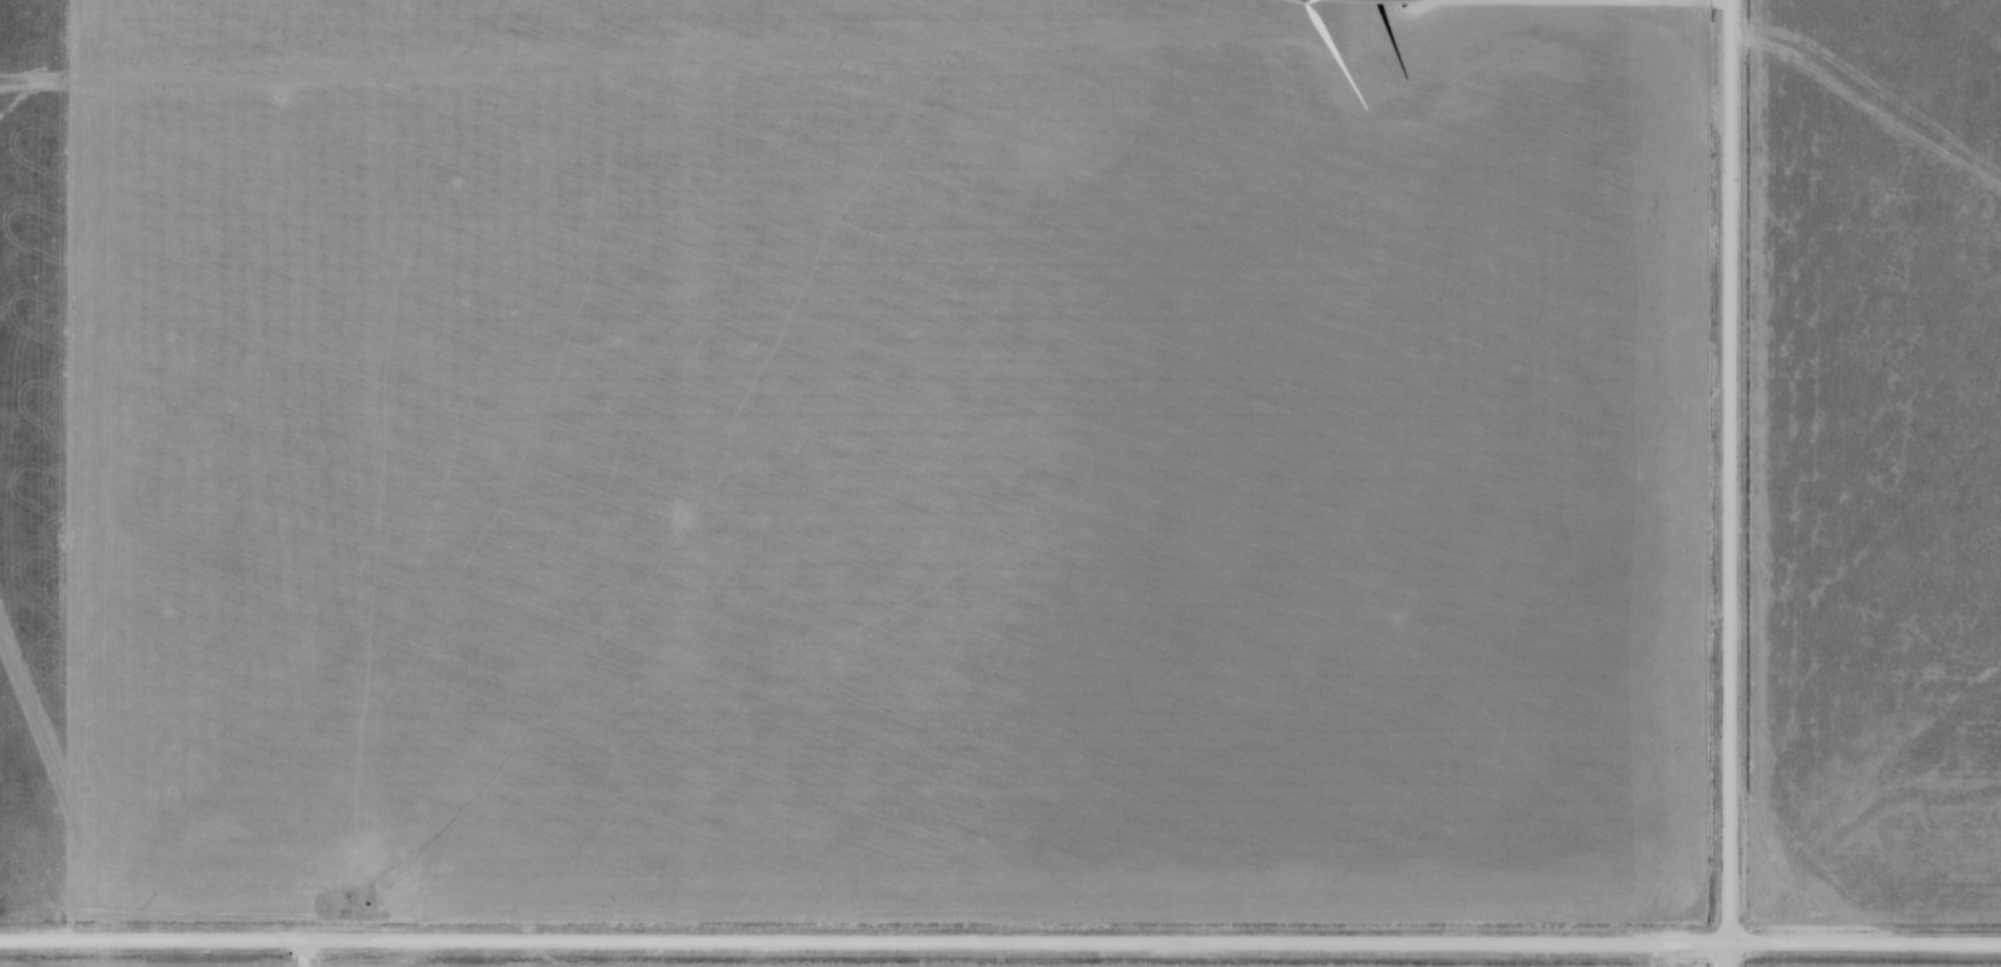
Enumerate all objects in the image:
road: (1585, 1)
road: (1730, 483)
road: (1000, 942)
road: (306, 953)

